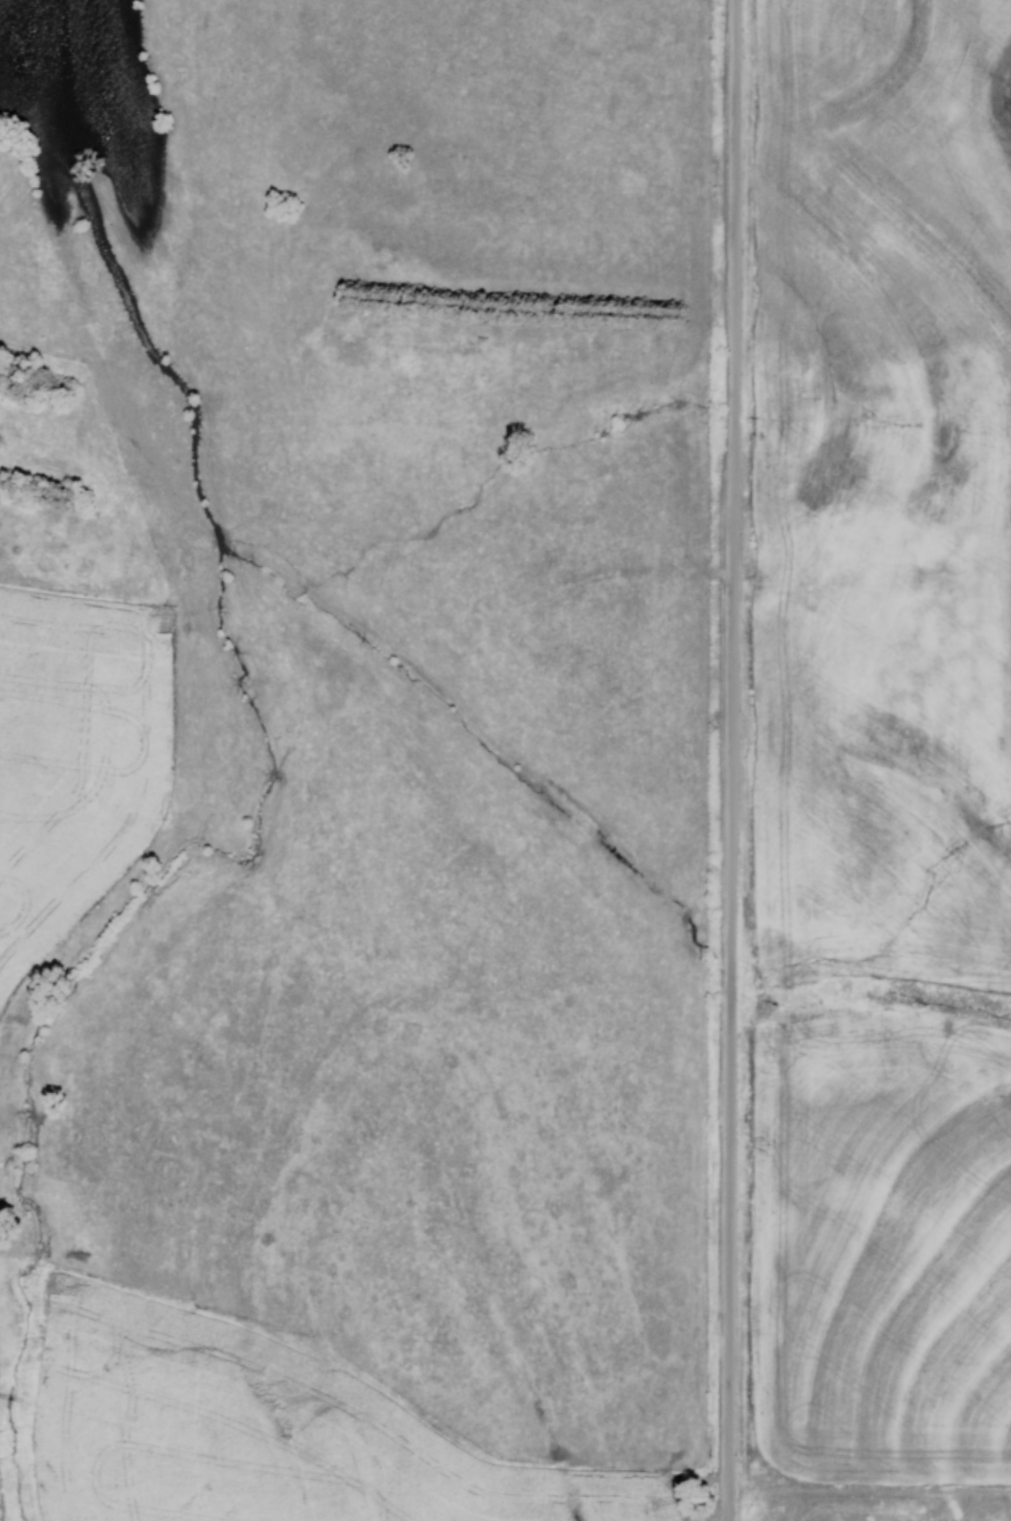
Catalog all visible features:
road: (738, 760)

